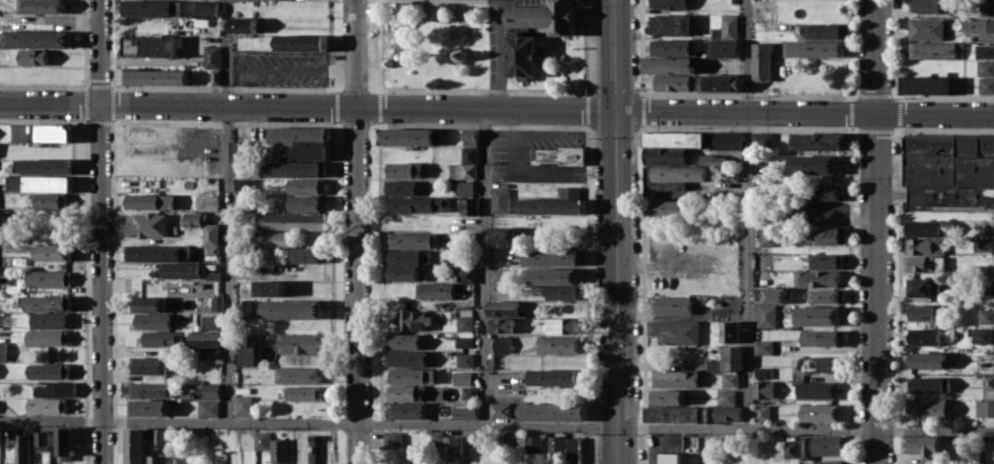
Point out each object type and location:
building: (254, 0)
building: (672, 4)
building: (40, 6)
building: (928, 6)
building: (985, 7)
building: (152, 8)
building: (207, 10)
road: (51, 18)
building: (243, 24)
building: (672, 24)
building: (979, 25)
building: (729, 26)
building: (927, 28)
building: (807, 31)
building: (828, 31)
building: (35, 39)
building: (301, 42)
building: (151, 45)
building: (673, 46)
building: (724, 48)
building: (815, 48)
building: (933, 49)
building: (986, 50)
building: (518, 51)
road: (498, 52)
road: (227, 53)
building: (33, 56)
building: (212, 56)
building: (762, 61)
building: (669, 64)
building: (985, 67)
road: (278, 69)
building: (156, 76)
building: (215, 76)
building: (675, 82)
building: (720, 82)
building: (928, 84)
building: (986, 85)
road: (309, 106)
traffic signals: (619, 110)
road: (806, 111)
building: (5, 132)
building: (42, 132)
building: (759, 135)
building: (408, 136)
building: (470, 137)
building: (693, 139)
building: (820, 141)
building: (301, 142)
building: (239, 150)
building: (665, 154)
building: (557, 155)
building: (707, 159)
building: (814, 164)
building: (42, 165)
building: (465, 165)
building: (293, 168)
building: (402, 169)
building: (950, 171)
building: (681, 173)
building: (731, 173)
building: (38, 183)
building: (244, 184)
building: (306, 185)
building: (401, 186)
building: (461, 187)
building: (826, 192)
building: (499, 200)
building: (50, 201)
building: (150, 201)
building: (207, 202)
building: (307, 203)
building: (555, 203)
building: (418, 204)
building: (469, 206)
building: (664, 207)
building: (823, 209)
road: (749, 212)
building: (194, 217)
building: (293, 220)
building: (147, 224)
building: (926, 228)
road: (99, 231)
road: (619, 231)
road: (354, 232)
road: (874, 232)
building: (211, 234)
building: (503, 235)
building: (826, 235)
building: (767, 237)
building: (274, 238)
building: (411, 240)
building: (926, 245)
building: (984, 245)
building: (53, 252)
building: (158, 252)
building: (307, 255)
building: (406, 256)
building: (524, 256)
building: (556, 257)
building: (825, 260)
road: (228, 262)
building: (924, 263)
road: (483, 265)
building: (180, 270)
building: (986, 270)
building: (401, 272)
building: (468, 273)
building: (499, 275)
building: (556, 275)
building: (49, 278)
building: (817, 278)
building: (924, 287)
building: (270, 288)
building: (437, 290)
building: (563, 292)
building: (826, 296)
building: (48, 303)
building: (150, 303)
building: (212, 303)
building: (671, 304)
building: (768, 304)
building: (503, 307)
building: (293, 309)
building: (923, 312)
building: (818, 315)
building: (986, 316)
building: (413, 319)
building: (50, 320)
building: (152, 321)
building: (464, 323)
building: (502, 325)
building: (565, 325)
building: (674, 331)
building: (730, 331)
building: (981, 335)
building: (925, 336)
building: (47, 337)
building: (821, 337)
building: (163, 338)
building: (207, 339)
building: (405, 341)
building: (464, 341)
building: (301, 343)
building: (502, 344)
building: (559, 344)
building: (763, 347)
building: (2, 350)
building: (211, 352)
building: (406, 358)
building: (733, 358)
building: (464, 359)
building: (927, 360)
building: (820, 363)
building: (147, 365)
building: (714, 365)
building: (48, 371)
building: (762, 372)
building: (297, 375)
building: (412, 375)
building: (555, 376)
building: (675, 377)
building: (462, 378)
building: (730, 379)
building: (988, 381)
building: (928, 384)
building: (150, 388)
building: (56, 389)
building: (764, 389)
building: (817, 389)
building: (205, 391)
building: (404, 392)
building: (469, 392)
building: (303, 393)
building: (726, 394)
building: (668, 397)
building: (47, 405)
building: (244, 405)
building: (148, 407)
building: (984, 407)
building: (208, 408)
building: (927, 408)
building: (406, 410)
building: (501, 410)
building: (552, 411)
building: (762, 411)
building: (466, 412)
building: (821, 412)
building: (730, 413)
building: (677, 414)
road: (497, 422)
building: (393, 439)
building: (40, 440)
building: (262, 440)
building: (63, 441)
building: (533, 444)
building: (556, 444)
building: (820, 445)
building: (924, 445)
building: (135, 446)
building: (21, 449)
building: (453, 449)
building: (791, 449)
building: (279, 451)
building: (572, 451)
building: (669, 458)
building: (158, 459)
building: (825, 462)

